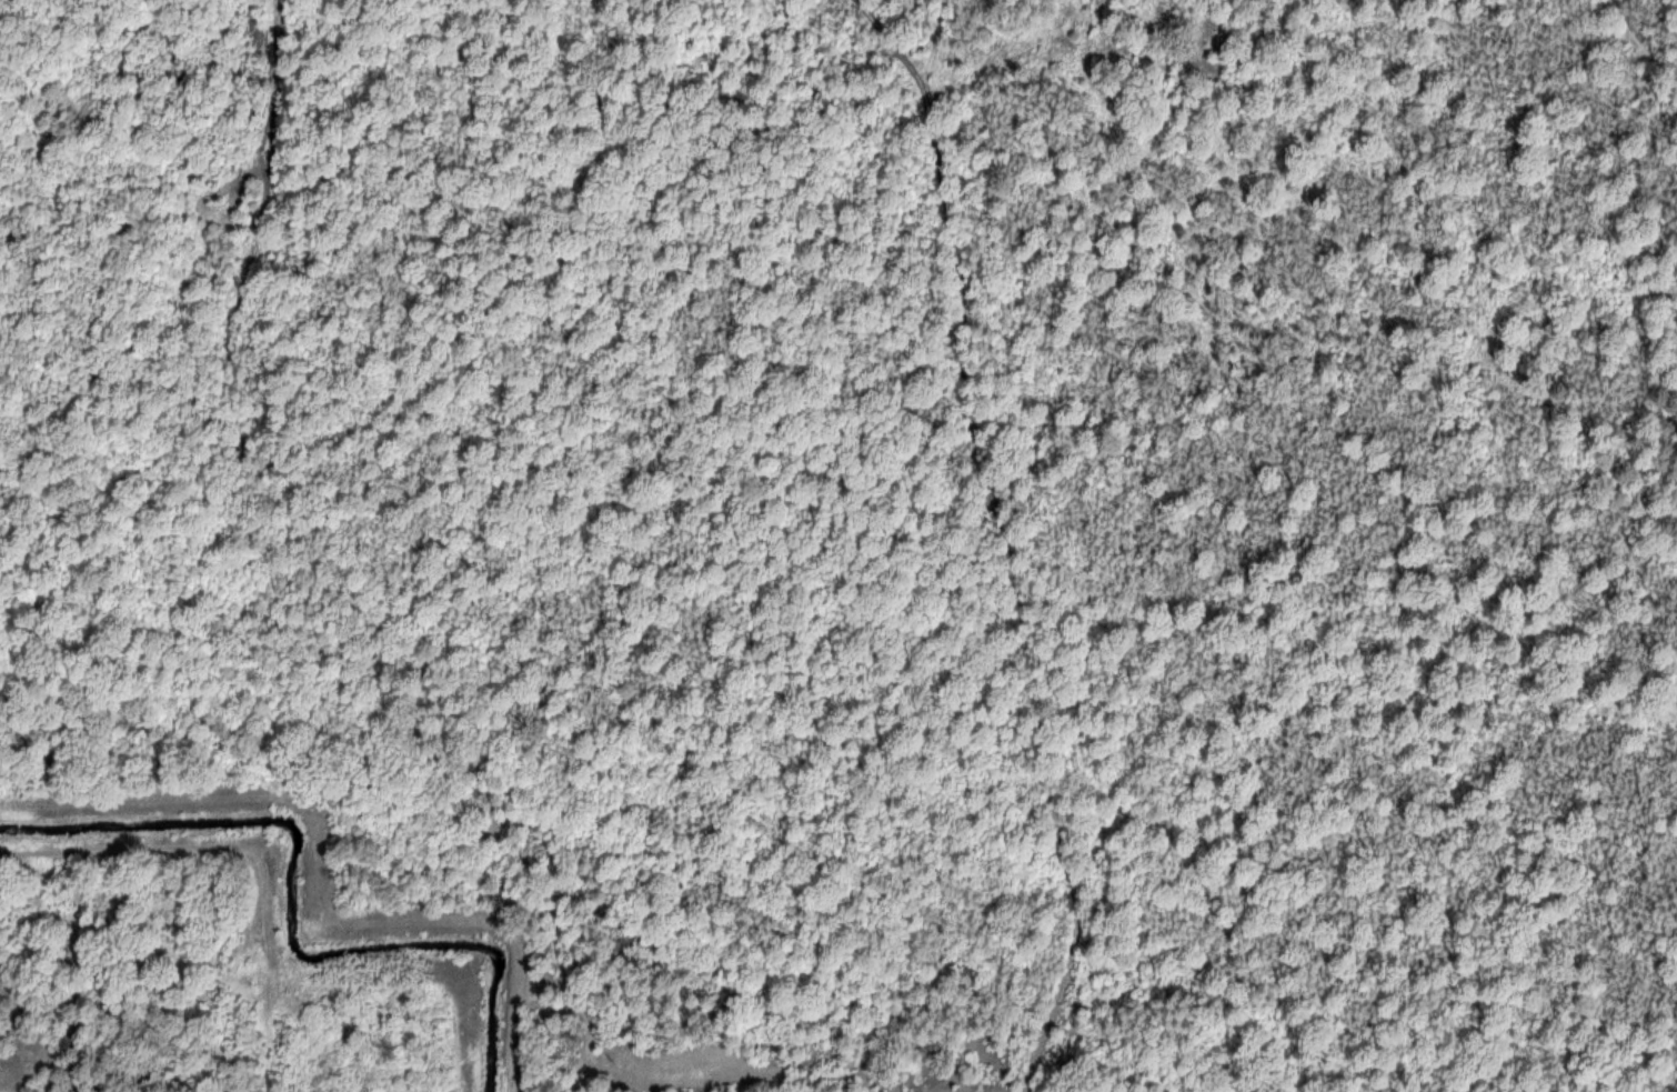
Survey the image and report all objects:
road: (1636, 46)

